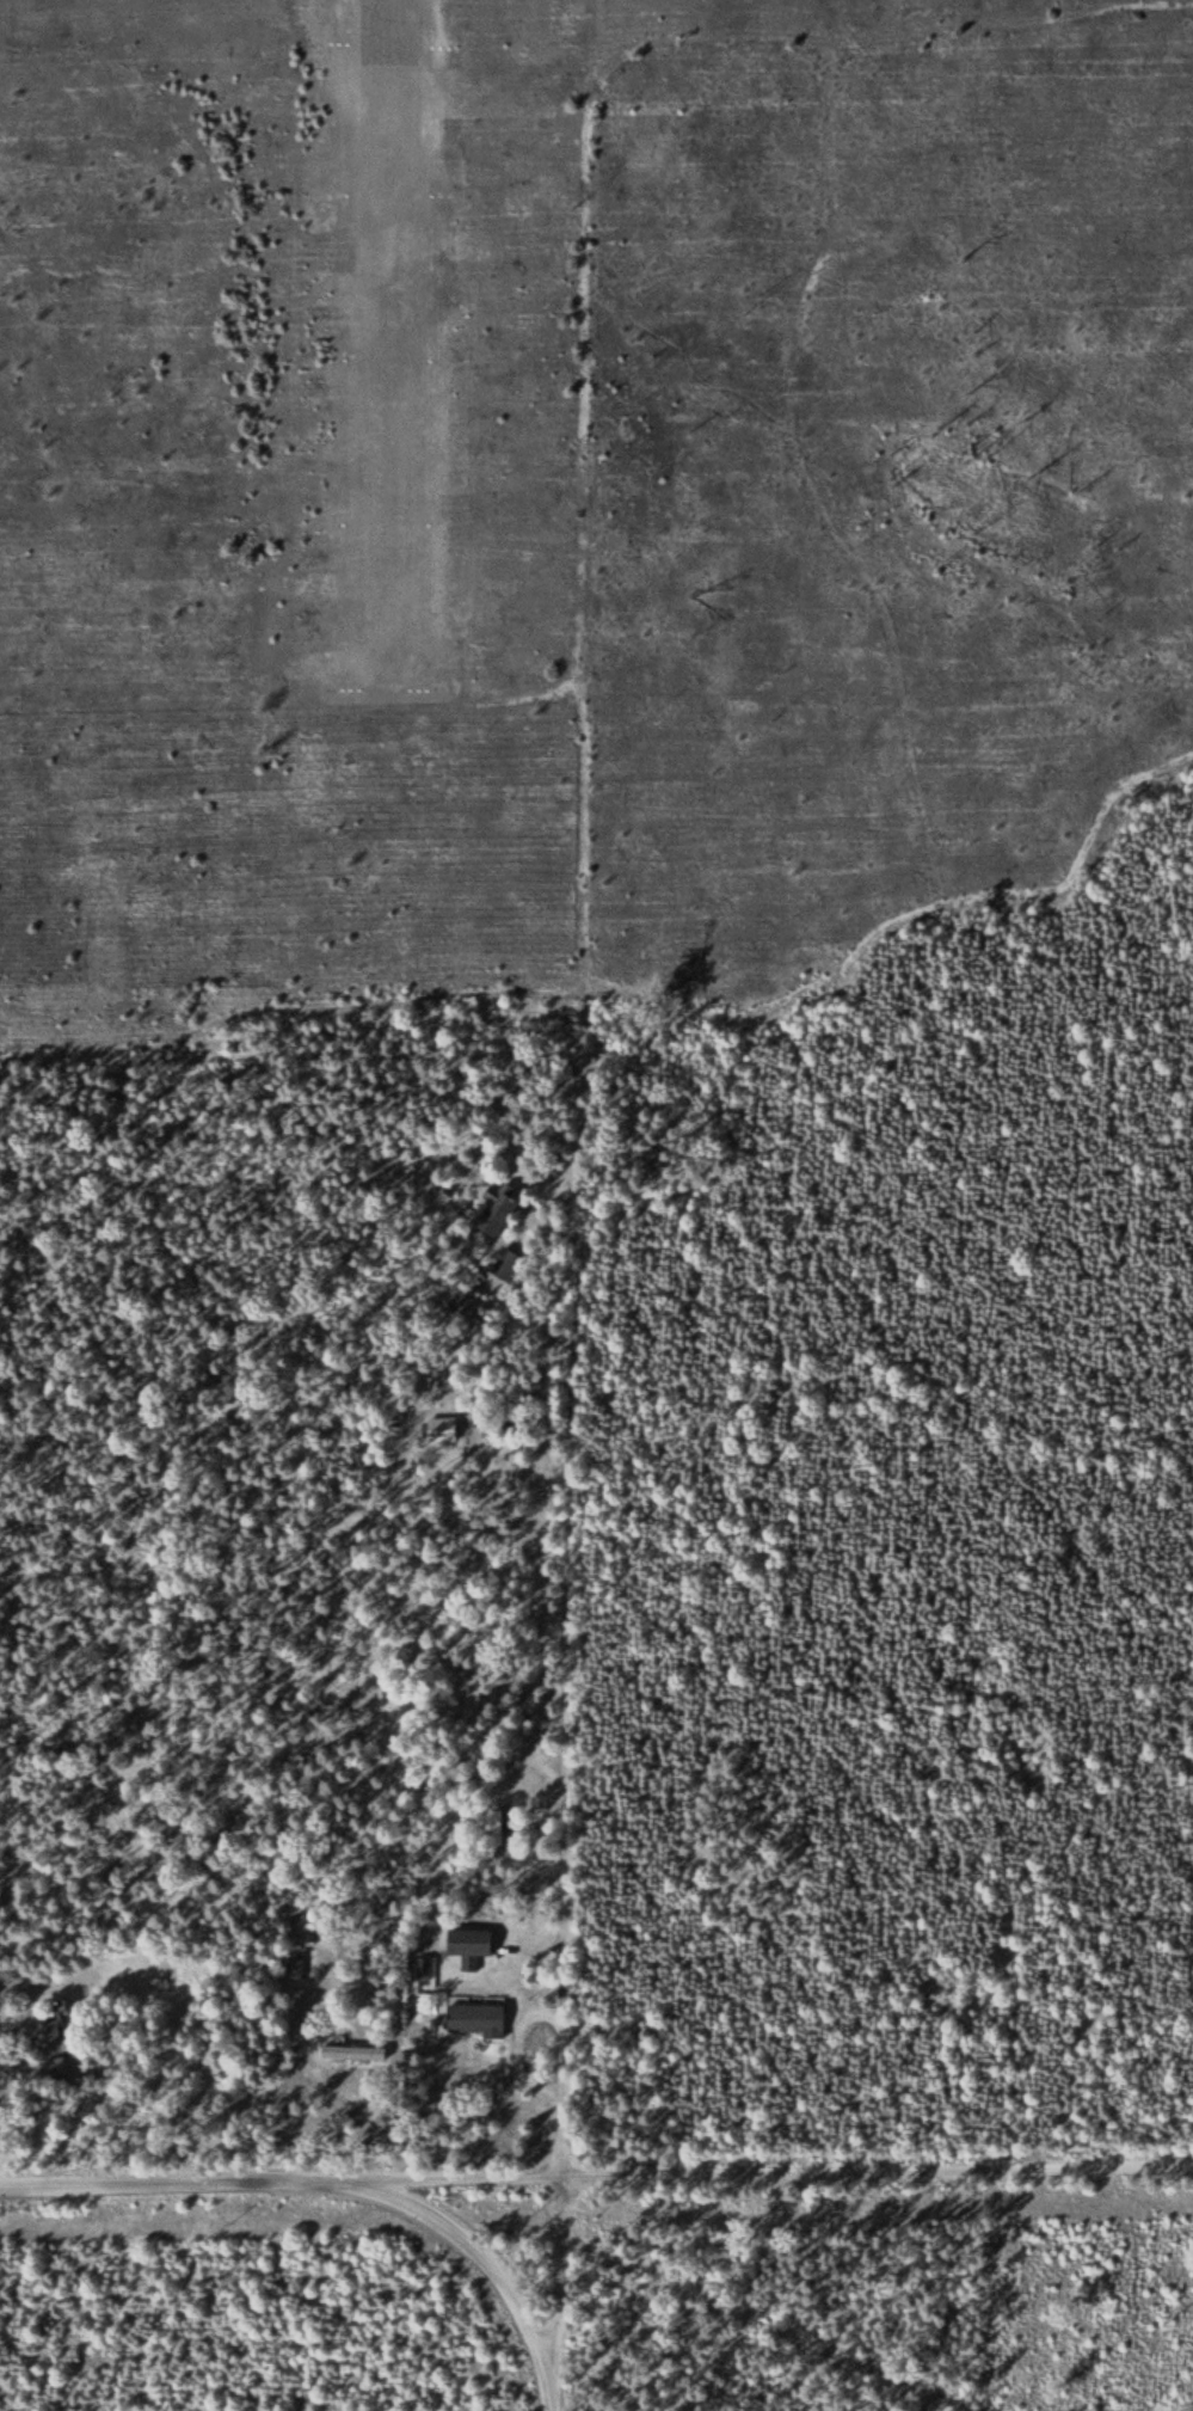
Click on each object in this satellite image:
road: (879, 36)
airport runway: (387, 342)
road: (631, 993)
road: (579, 1134)
building: (503, 1208)
building: (445, 1430)
building: (472, 1946)
building: (479, 2019)
building: (54, 2050)
building: (357, 2054)
road: (878, 2165)
road: (281, 2183)
road: (471, 2238)
road: (560, 2281)
road: (764, 2323)
road: (558, 2403)

